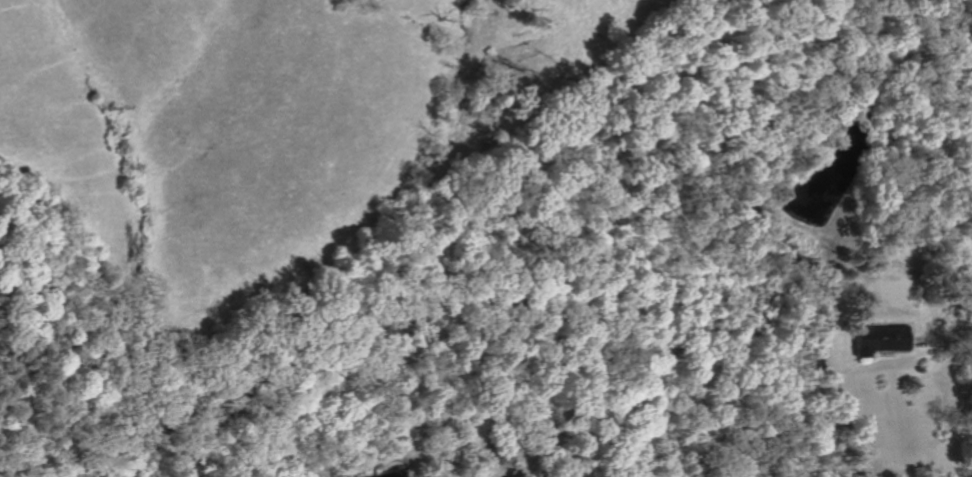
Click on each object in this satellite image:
road: (954, 329)
building: (880, 339)

